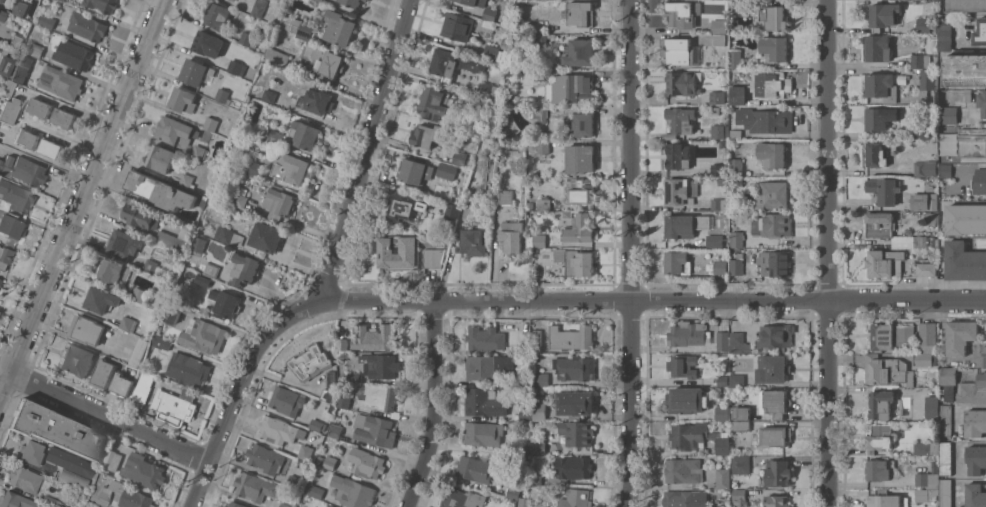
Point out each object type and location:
building: (63, 0)
building: (236, 0)
building: (337, 0)
building: (365, 0)
building: (2, 1)
building: (320, 1)
building: (352, 2)
building: (475, 2)
building: (102, 5)
building: (735, 5)
building: (931, 5)
building: (966, 5)
building: (20, 8)
building: (259, 8)
building: (581, 13)
building: (682, 13)
building: (2, 14)
building: (489, 14)
building: (218, 15)
building: (884, 15)
building: (774, 17)
building: (47, 21)
building: (488, 23)
building: (923, 25)
building: (87, 26)
building: (297, 26)
building: (458, 26)
building: (720, 26)
building: (500, 27)
building: (266, 28)
building: (339, 28)
building: (980, 32)
building: (945, 33)
building: (552, 36)
building: (249, 39)
building: (719, 39)
building: (540, 40)
building: (16, 42)
building: (206, 42)
building: (774, 48)
building: (878, 48)
building: (35, 50)
building: (680, 51)
building: (580, 52)
building: (493, 53)
building: (927, 53)
building: (74, 55)
building: (276, 57)
building: (735, 58)
building: (327, 61)
building: (40, 62)
building: (455, 63)
building: (236, 67)
building: (12, 69)
building: (515, 70)
building: (965, 70)
building: (194, 72)
building: (540, 74)
building: (928, 81)
building: (61, 82)
building: (681, 82)
building: (771, 85)
building: (8, 87)
building: (882, 87)
building: (488, 89)
building: (571, 89)
building: (269, 95)
building: (738, 95)
building: (962, 95)
building: (222, 96)
building: (716, 97)
building: (183, 100)
building: (316, 101)
building: (434, 102)
building: (480, 102)
building: (982, 103)
building: (40, 108)
building: (9, 110)
building: (714, 111)
building: (538, 114)
building: (948, 115)
building: (63, 118)
building: (876, 119)
building: (764, 120)
building: (680, 121)
building: (211, 123)
building: (584, 124)
building: (174, 130)
building: (719, 131)
building: (735, 133)
building: (305, 134)
building: (428, 135)
building: (924, 136)
building: (27, 137)
building: (277, 138)
building: (972, 143)
building: (723, 144)
building: (947, 144)
building: (51, 147)
building: (933, 148)
building: (542, 149)
building: (199, 152)
building: (771, 154)
building: (876, 154)
building: (678, 156)
building: (159, 158)
building: (460, 158)
building: (580, 158)
building: (736, 164)
building: (252, 168)
building: (292, 168)
building: (917, 168)
building: (720, 169)
building: (23, 170)
building: (945, 170)
building: (412, 171)
building: (447, 171)
building: (489, 171)
road: (858, 171)
building: (187, 181)
building: (723, 181)
building: (979, 181)
building: (736, 183)
building: (929, 183)
building: (885, 190)
building: (160, 191)
building: (680, 191)
building: (582, 192)
road: (82, 194)
building: (774, 195)
building: (16, 196)
building: (504, 197)
building: (240, 200)
building: (925, 201)
building: (279, 203)
building: (544, 204)
building: (718, 204)
building: (406, 207)
building: (452, 210)
building: (567, 214)
building: (141, 216)
building: (930, 218)
building: (966, 219)
building: (701, 222)
building: (681, 225)
building: (776, 225)
building: (879, 225)
building: (10, 228)
building: (579, 229)
building: (228, 236)
building: (266, 237)
building: (511, 237)
building: (176, 238)
building: (736, 239)
building: (715, 241)
building: (923, 241)
building: (472, 242)
building: (537, 242)
building: (124, 243)
building: (199, 243)
building: (398, 252)
building: (738, 252)
road: (630, 253)
road: (826, 253)
building: (4, 256)
building: (921, 256)
building: (434, 257)
building: (675, 261)
building: (576, 262)
building: (964, 262)
building: (776, 263)
building: (885, 263)
building: (151, 266)
building: (201, 266)
building: (720, 267)
building: (736, 267)
building: (243, 268)
building: (926, 269)
road: (328, 271)
building: (113, 272)
building: (205, 279)
building: (0, 281)
building: (140, 295)
building: (100, 299)
road: (652, 302)
building: (225, 303)
building: (171, 313)
building: (129, 324)
building: (88, 330)
building: (687, 333)
building: (985, 334)
building: (203, 335)
building: (776, 335)
building: (882, 336)
building: (960, 336)
building: (375, 337)
building: (527, 337)
building: (572, 338)
building: (903, 338)
building: (485, 339)
building: (537, 341)
building: (723, 341)
building: (161, 342)
building: (739, 343)
building: (343, 344)
building: (984, 349)
building: (139, 352)
building: (925, 359)
building: (77, 360)
building: (310, 362)
building: (683, 365)
building: (381, 366)
building: (488, 367)
building: (575, 368)
building: (772, 368)
building: (188, 369)
building: (887, 370)
building: (104, 374)
building: (354, 377)
building: (330, 379)
building: (541, 379)
building: (737, 380)
building: (722, 381)
building: (342, 382)
building: (948, 382)
building: (122, 385)
building: (141, 389)
building: (973, 391)
building: (327, 395)
building: (380, 398)
building: (688, 400)
building: (344, 401)
building: (286, 402)
building: (485, 402)
building: (575, 402)
building: (774, 403)
building: (881, 404)
building: (175, 406)
road: (432, 406)
building: (932, 407)
building: (539, 411)
building: (722, 413)
building: (740, 413)
building: (525, 414)
road: (104, 416)
building: (574, 417)
building: (945, 420)
building: (975, 423)
building: (317, 425)
building: (740, 425)
building: (56, 429)
building: (279, 430)
building: (335, 430)
building: (374, 430)
building: (577, 432)
building: (483, 433)
building: (689, 435)
building: (775, 436)
building: (346, 437)
building: (879, 437)
building: (723, 444)
building: (540, 447)
building: (926, 448)
building: (520, 451)
building: (32, 452)
building: (305, 452)
building: (945, 458)
building: (265, 459)
building: (976, 459)
building: (112, 460)
building: (320, 460)
building: (72, 462)
building: (330, 462)
building: (367, 463)
building: (740, 464)
building: (574, 467)
building: (477, 468)
building: (881, 469)
building: (143, 471)
building: (683, 471)
building: (779, 473)
building: (535, 476)
building: (25, 478)
building: (72, 478)
building: (723, 478)
building: (927, 480)
building: (293, 481)
building: (255, 487)
building: (313, 489)
building: (353, 492)
building: (513, 493)
building: (946, 493)
building: (926, 495)
building: (975, 495)
building: (122, 496)
building: (739, 497)
building: (462, 498)
building: (576, 498)
building: (685, 499)
building: (886, 499)
building: (15, 500)
building: (52, 501)
building: (776, 501)
building: (525, 502)
building: (235, 504)
building: (285, 505)
building: (91, 506)
building: (99, 506)
building: (327, 506)
building: (331, 506)

